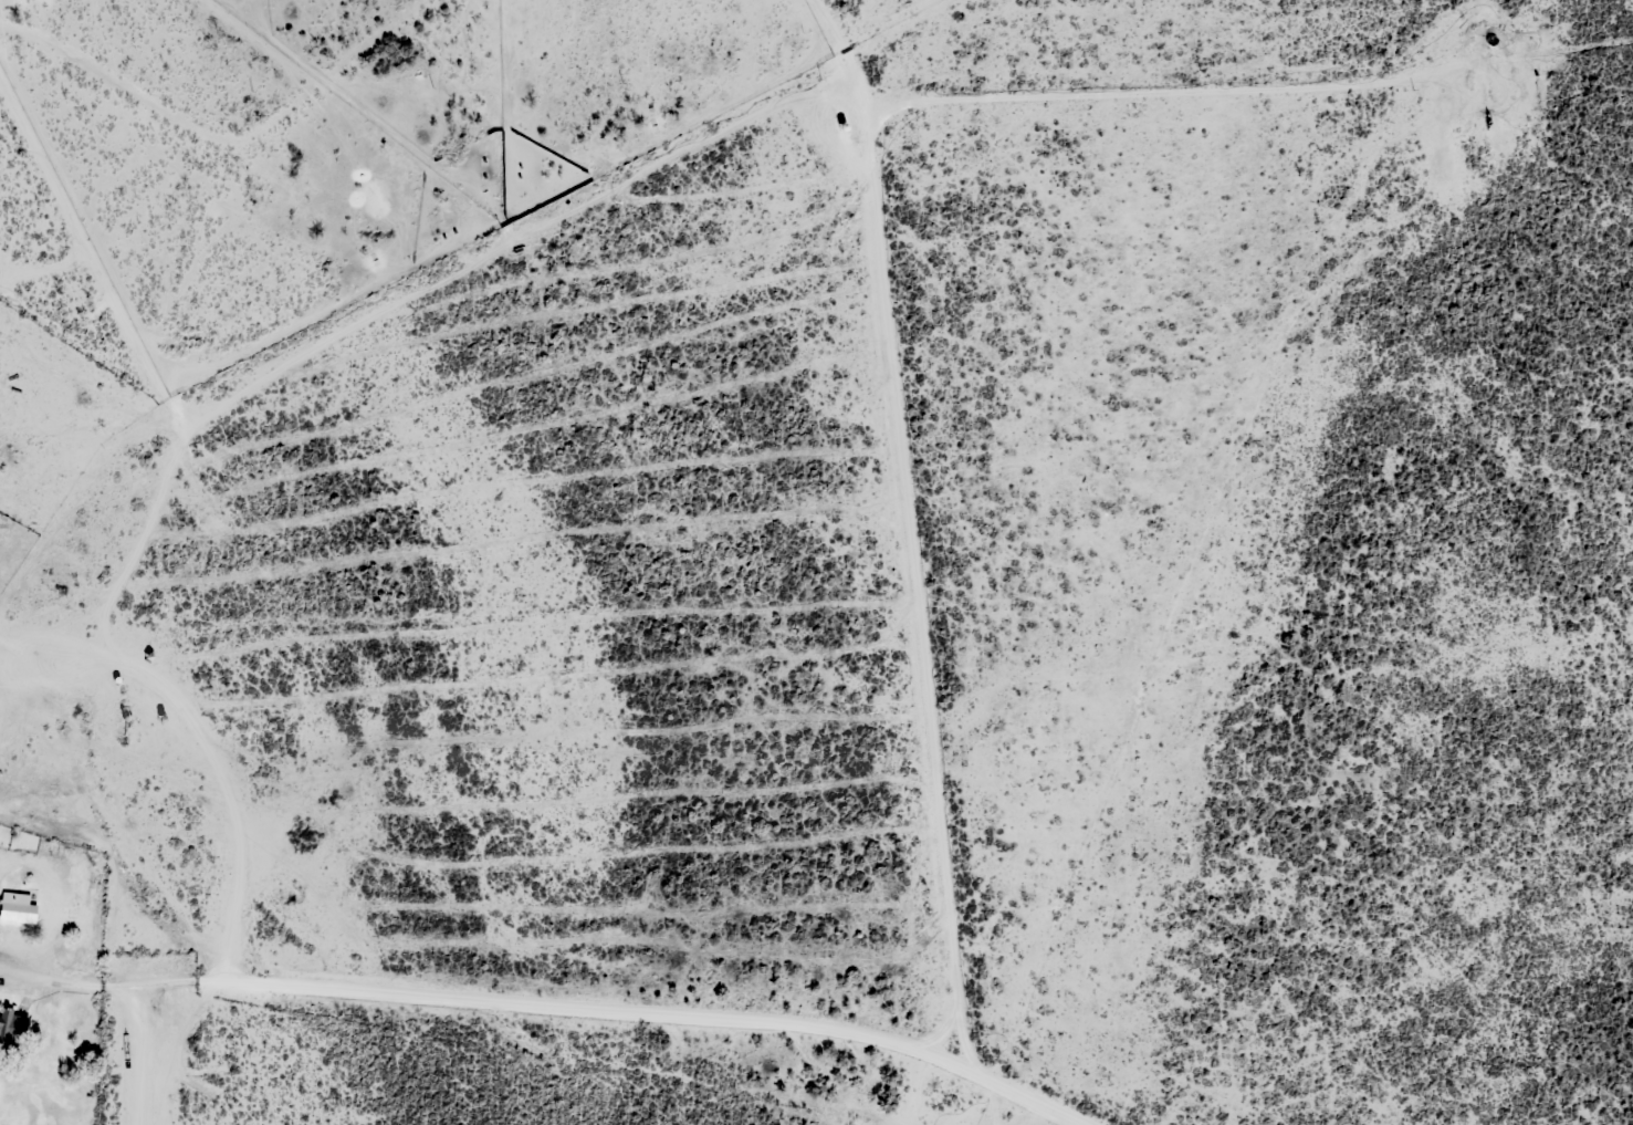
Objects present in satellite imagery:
road: (903, 500)
building: (12, 904)
road: (57, 978)
road: (624, 1014)
building: (11, 1028)
road: (201, 1056)
airport runway: (145, 1069)

